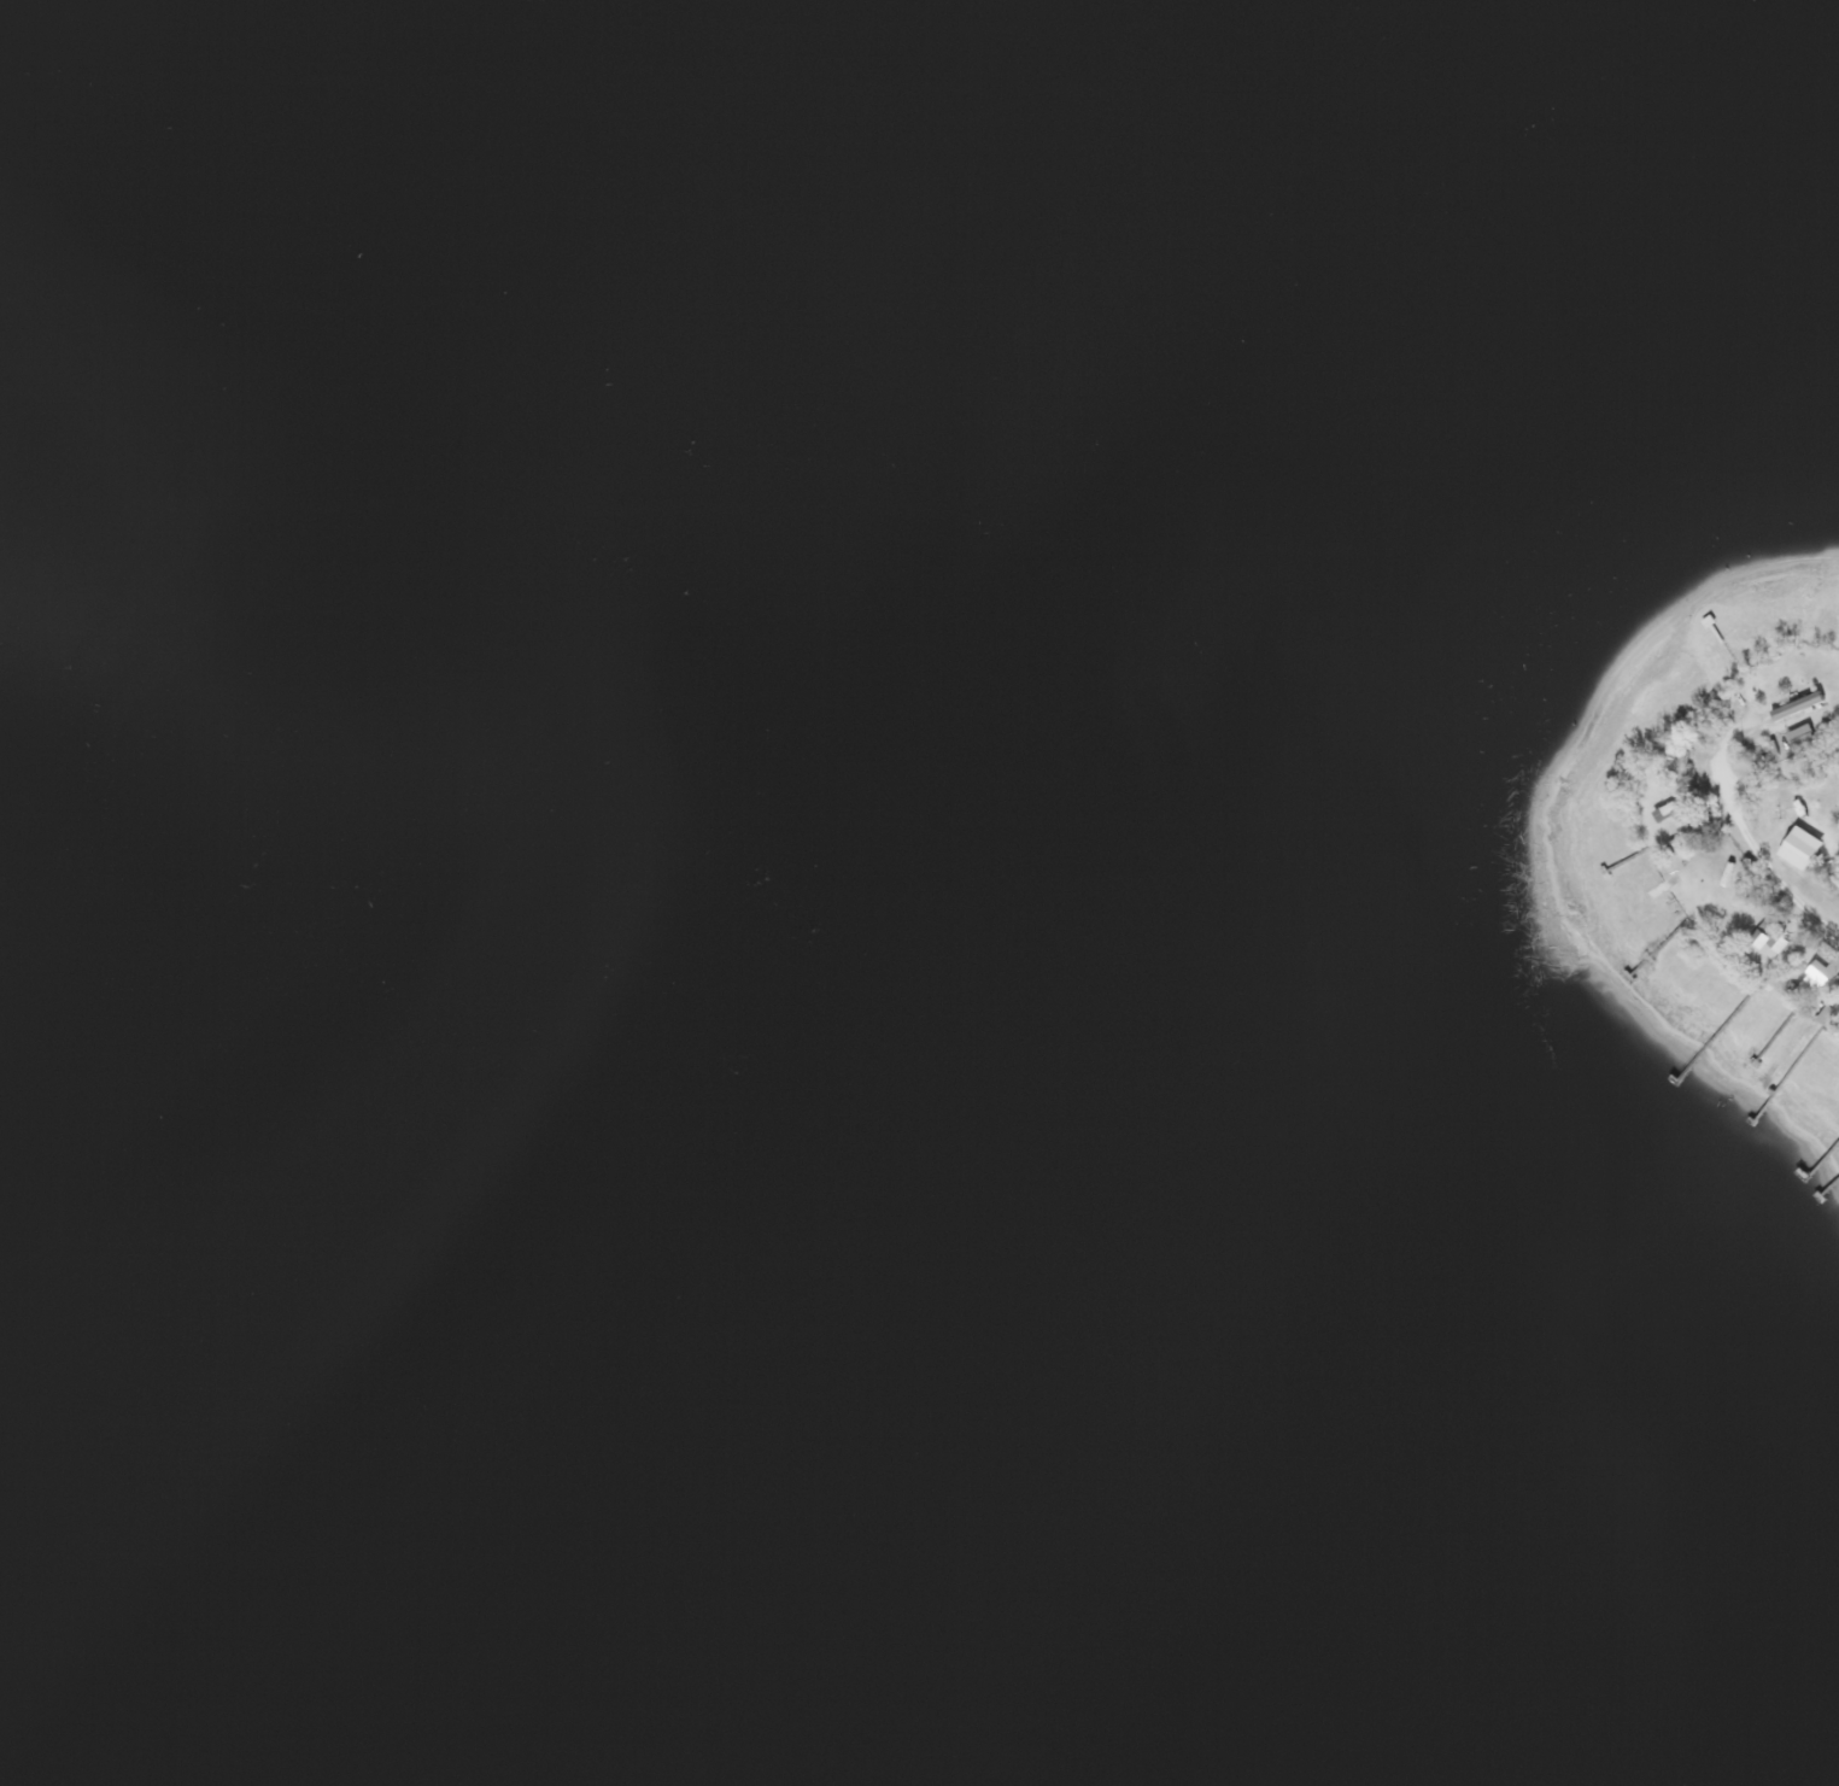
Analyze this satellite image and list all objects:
building: (1796, 705)
building: (1797, 732)
building: (1667, 809)
building: (1793, 830)
building: (1705, 831)
building: (1797, 847)
road: (1764, 862)
building: (1726, 874)
building: (1770, 943)
building: (1821, 966)

